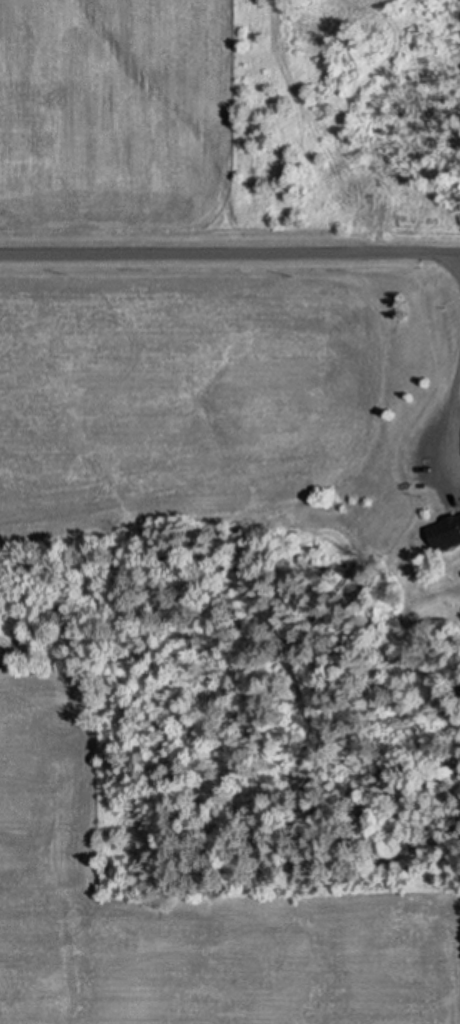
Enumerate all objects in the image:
road: (230, 254)
building: (445, 532)

